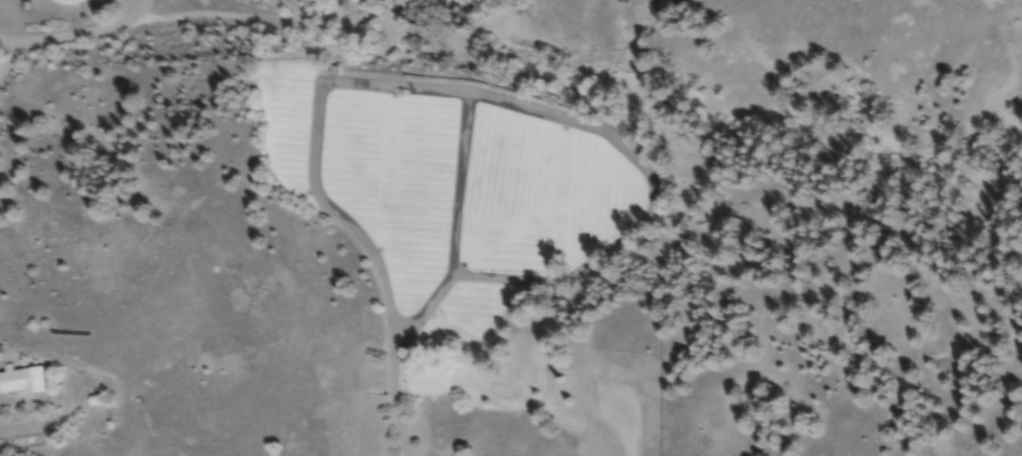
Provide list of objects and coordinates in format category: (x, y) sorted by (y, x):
building: (335, 72)
road: (553, 116)
road: (460, 181)
park: (467, 253)
flagpole: (426, 348)
building: (21, 382)
road: (398, 425)
road: (626, 431)

